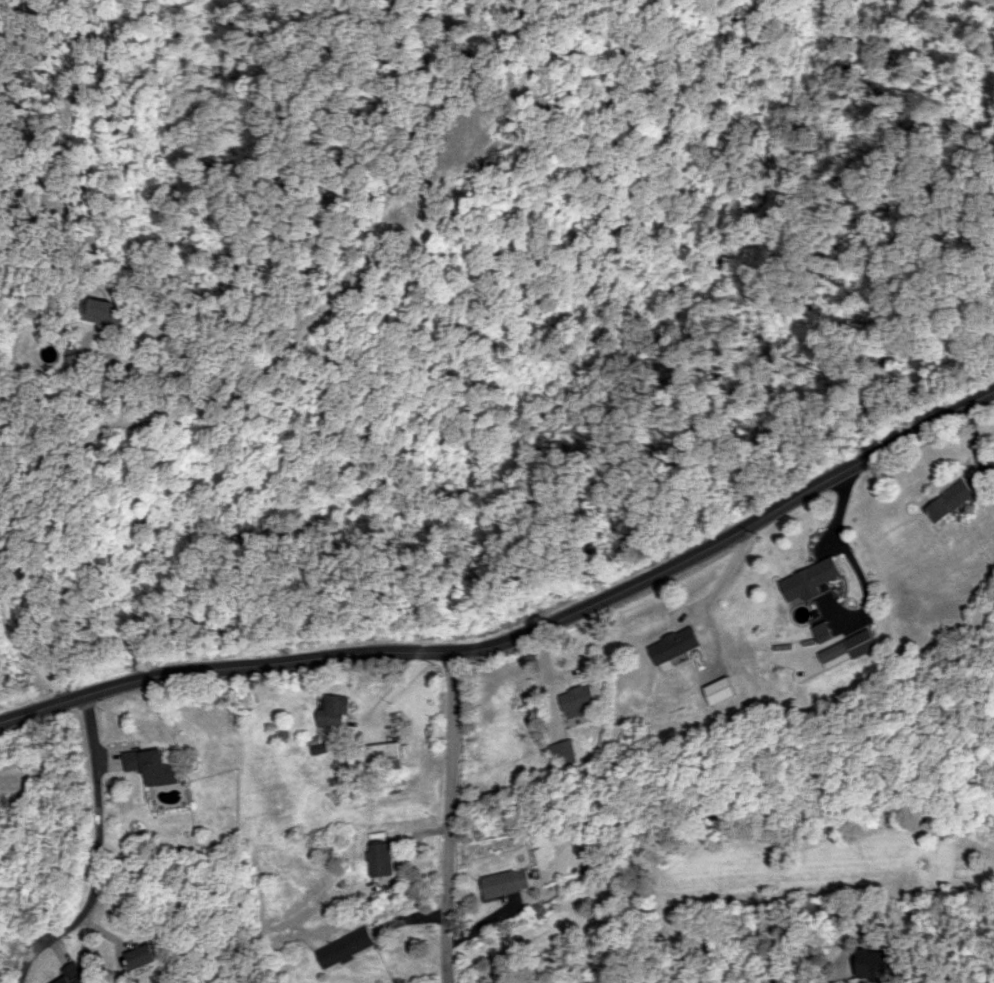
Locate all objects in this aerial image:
building: (101, 311)
building: (74, 353)
building: (992, 460)
building: (949, 501)
road: (33, 533)
road: (850, 559)
building: (808, 580)
building: (821, 631)
road: (520, 634)
building: (673, 644)
building: (847, 648)
building: (721, 690)
building: (577, 700)
building: (335, 711)
building: (565, 750)
building: (376, 756)
building: (152, 765)
road: (449, 816)
road: (95, 851)
building: (382, 859)
building: (506, 882)
building: (345, 946)
building: (141, 956)
building: (878, 965)
building: (73, 974)

